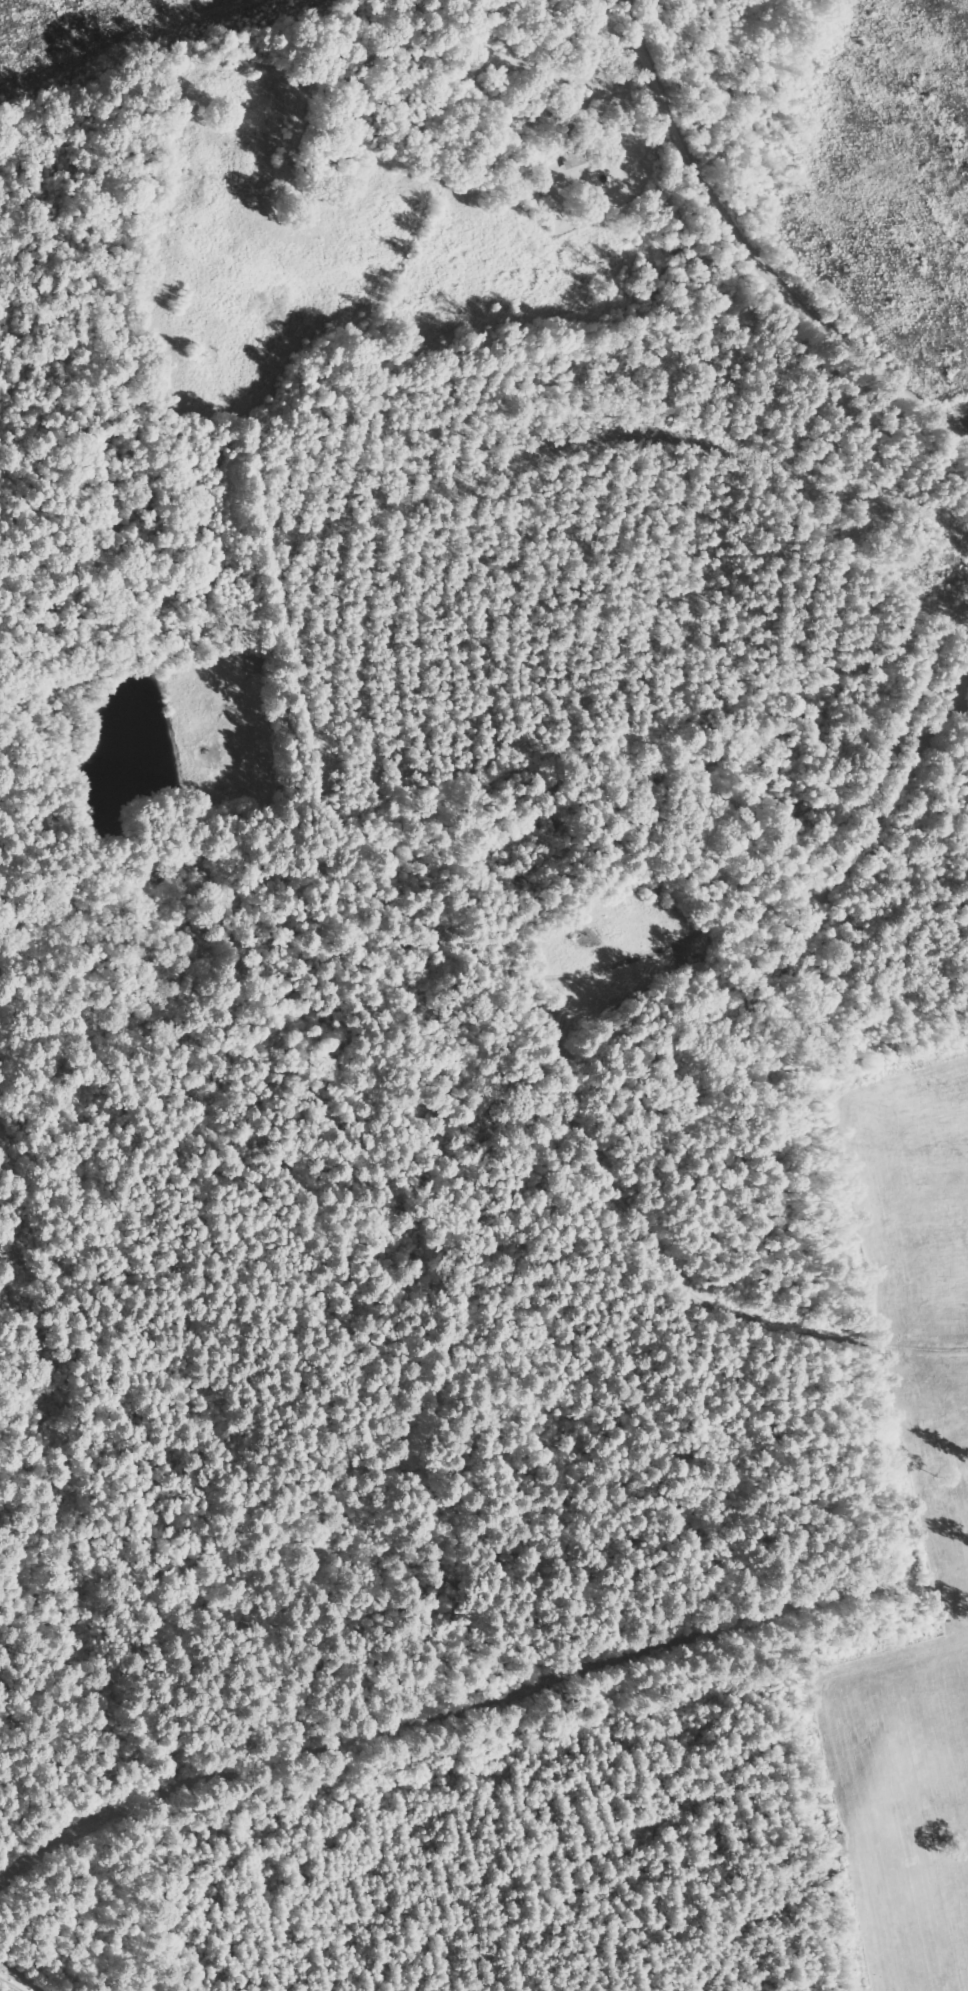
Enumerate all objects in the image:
road: (739, 265)
road: (848, 847)

